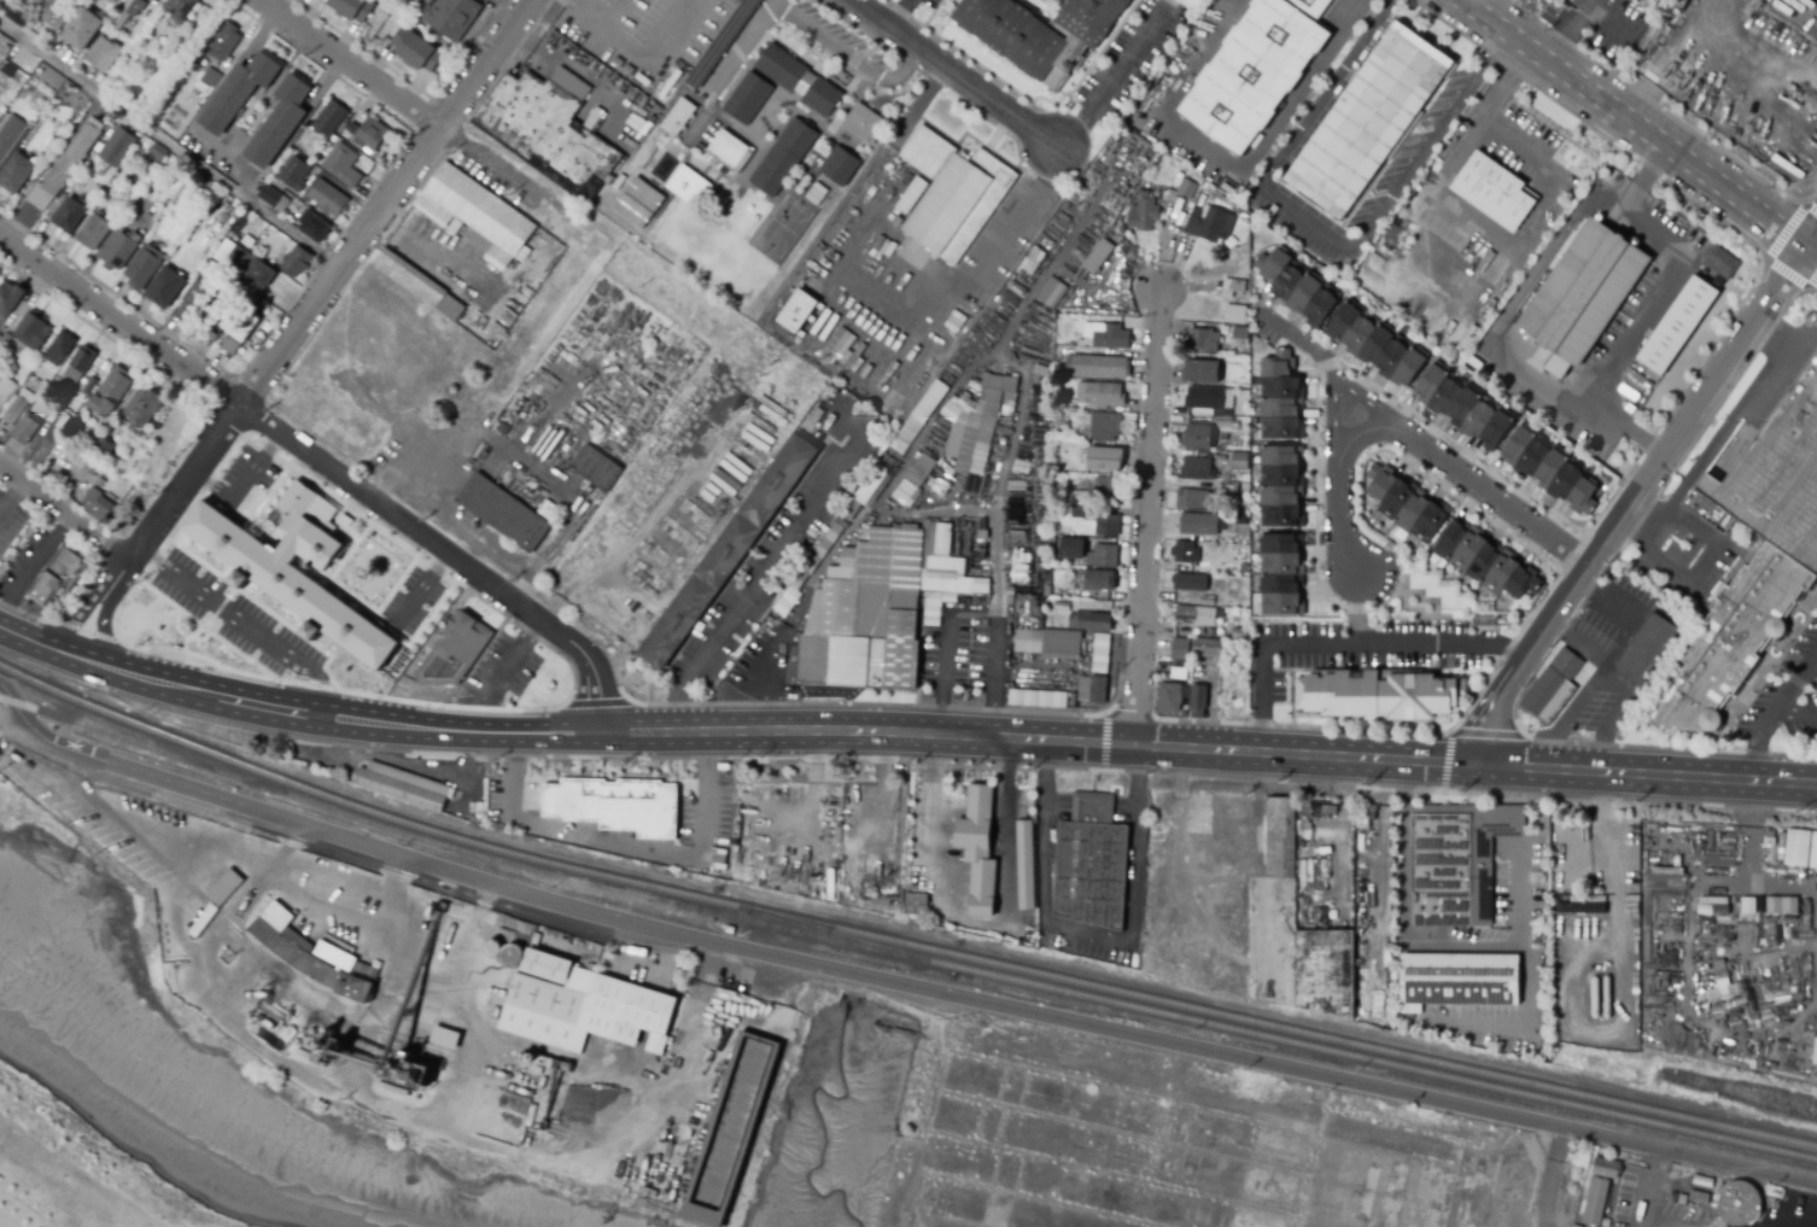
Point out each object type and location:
building: (1547, 0)
building: (1552, 0)
road: (1816, 0)
road: (769, 2)
road: (280, 5)
road: (766, 7)
building: (180, 8)
building: (352, 8)
building: (21, 11)
building: (128, 12)
road: (899, 12)
building: (51, 13)
building: (452, 19)
road: (1564, 30)
building: (80, 33)
building: (125, 33)
building: (1040, 34)
building: (226, 41)
building: (416, 49)
building: (104, 54)
building: (779, 66)
building: (1255, 70)
road: (958, 75)
building: (211, 76)
road: (1114, 77)
building: (805, 82)
building: (198, 90)
building: (238, 93)
building: (658, 95)
building: (747, 98)
building: (819, 98)
road: (398, 99)
road: (1482, 112)
building: (680, 113)
building: (329, 118)
building: (279, 122)
building: (1365, 122)
building: (863, 123)
road: (1634, 125)
building: (637, 129)
building: (549, 130)
building: (370, 134)
building: (10, 136)
road: (1297, 138)
road: (170, 142)
road: (1430, 144)
building: (51, 145)
building: (117, 147)
building: (156, 152)
building: (726, 152)
building: (785, 153)
road: (1227, 162)
building: (290, 165)
building: (837, 165)
building: (65, 166)
building: (340, 168)
building: (16, 173)
building: (621, 180)
building: (687, 187)
building: (1186, 188)
building: (1492, 192)
building: (951, 194)
building: (814, 195)
building: (273, 198)
building: (327, 198)
building: (1227, 200)
building: (638, 201)
building: (719, 205)
building: (1240, 212)
building: (475, 214)
building: (1144, 214)
building: (69, 216)
building: (893, 218)
building: (1210, 224)
building: (312, 227)
building: (94, 230)
road: (1813, 245)
road: (992, 246)
building: (121, 250)
road: (1813, 253)
building: (1098, 257)
building: (1718, 261)
building: (296, 262)
building: (243, 265)
building: (1489, 267)
building: (142, 268)
building: (421, 282)
building: (1233, 285)
building: (165, 288)
building: (1579, 292)
building: (1052, 293)
road: (320, 294)
building: (10, 299)
building: (194, 300)
road: (1644, 306)
building: (795, 310)
building: (1235, 315)
building: (217, 323)
building: (1673, 326)
building: (499, 331)
building: (1239, 332)
building: (28, 334)
building: (1105, 337)
building: (236, 338)
building: (1204, 340)
road: (1308, 341)
building: (62, 346)
building: (45, 361)
building: (80, 364)
building: (1098, 367)
building: (1039, 370)
building: (1202, 372)
road: (1337, 384)
building: (1431, 384)
building: (89, 386)
building: (110, 391)
building: (1057, 392)
building: (1099, 395)
building: (1245, 395)
building: (1207, 401)
building: (144, 407)
building: (993, 409)
building: (12, 414)
building: (918, 419)
building: (1092, 423)
building: (27, 431)
building: (1205, 433)
building: (956, 442)
road: (1416, 442)
building: (103, 449)
building: (1102, 460)
building: (1239, 462)
building: (93, 466)
road: (325, 467)
building: (598, 467)
building: (1197, 469)
building: (913, 480)
building: (100, 483)
building: (1208, 484)
building: (1244, 487)
building: (1284, 487)
building: (936, 489)
building: (1108, 489)
road: (1000, 491)
building: (861, 496)
building: (1075, 497)
building: (1196, 501)
road: (1634, 503)
building: (99, 507)
building: (549, 508)
building: (506, 510)
road: (64, 512)
building: (1081, 513)
road: (251, 518)
road: (1146, 519)
building: (1240, 519)
building: (1106, 525)
building: (1202, 525)
building: (983, 534)
building: (1448, 537)
building: (732, 549)
building: (1073, 550)
road: (347, 553)
building: (1187, 554)
road: (777, 556)
building: (1105, 556)
road: (153, 559)
building: (1753, 559)
road: (98, 563)
building: (291, 566)
road: (1710, 566)
building: (807, 569)
building: (1243, 569)
building: (63, 575)
building: (1047, 575)
building: (1075, 577)
building: (1098, 580)
building: (1190, 583)
road: (395, 585)
road: (463, 588)
building: (1010, 591)
building: (787, 601)
building: (1207, 601)
building: (1219, 603)
building: (1010, 604)
road: (218, 607)
road: (264, 607)
building: (882, 607)
building: (1062, 607)
road: (974, 610)
road: (75, 617)
building: (1194, 617)
building: (1089, 621)
road: (243, 623)
road: (66, 624)
road: (1566, 624)
road: (390, 625)
road: (101, 627)
park: (169, 630)
road: (205, 630)
road: (84, 631)
building: (1240, 631)
road: (22, 637)
road: (105, 637)
building: (1050, 644)
road: (1342, 644)
road: (164, 648)
building: (1207, 648)
building: (1180, 649)
building: (454, 650)
building: (1643, 650)
building: (1100, 653)
road: (72, 656)
building: (1178, 673)
road: (1811, 677)
road: (311, 684)
road: (771, 686)
building: (1093, 689)
building: (1553, 689)
building: (1374, 695)
road: (1788, 695)
road: (942, 696)
parking lot: (1786, 696)
building: (1038, 697)
building: (1168, 699)
building: (1071, 700)
road: (596, 701)
road: (997, 701)
building: (1197, 701)
road: (867, 703)
building: (1214, 713)
road: (1796, 713)
road: (22, 723)
road: (346, 726)
road: (1486, 732)
road: (1104, 740)
railway: (203, 747)
road: (1208, 750)
road: (1757, 759)
road: (1447, 761)
road: (1105, 770)
road: (1342, 782)
building: (404, 785)
building: (623, 808)
building: (1318, 808)
building: (1198, 813)
building: (1368, 816)
building: (737, 822)
road: (526, 823)
building: (1361, 834)
road: (700, 836)
road: (291, 847)
building: (977, 847)
building: (1812, 851)
road: (1337, 858)
road: (895, 860)
building: (1089, 863)
building: (1024, 864)
railway: (578, 866)
building: (1438, 871)
building: (714, 873)
road: (399, 881)
building: (223, 887)
building: (888, 892)
road: (253, 895)
building: (916, 905)
building: (1781, 905)
building: (1720, 907)
road: (980, 921)
railway: (823, 922)
road: (1093, 933)
building: (1301, 933)
road: (717, 940)
road: (1421, 946)
building: (490, 948)
building: (312, 956)
road: (210, 969)
building: (1455, 981)
building: (1722, 982)
road: (1614, 983)
road: (442, 992)
building: (1233, 992)
building: (586, 1003)
building: (445, 1033)
railway: (1281, 1035)
railway: (1356, 1039)
building: (1816, 1056)
road: (1512, 1115)
building: (735, 1128)
road: (1684, 1153)
building: (1607, 1168)
park: (78, 1172)
building: (589, 1173)
road: (1550, 1175)
road: (1652, 1187)
building: (1699, 1197)
building: (1595, 1202)
building: (1739, 1202)
road: (33, 1206)

